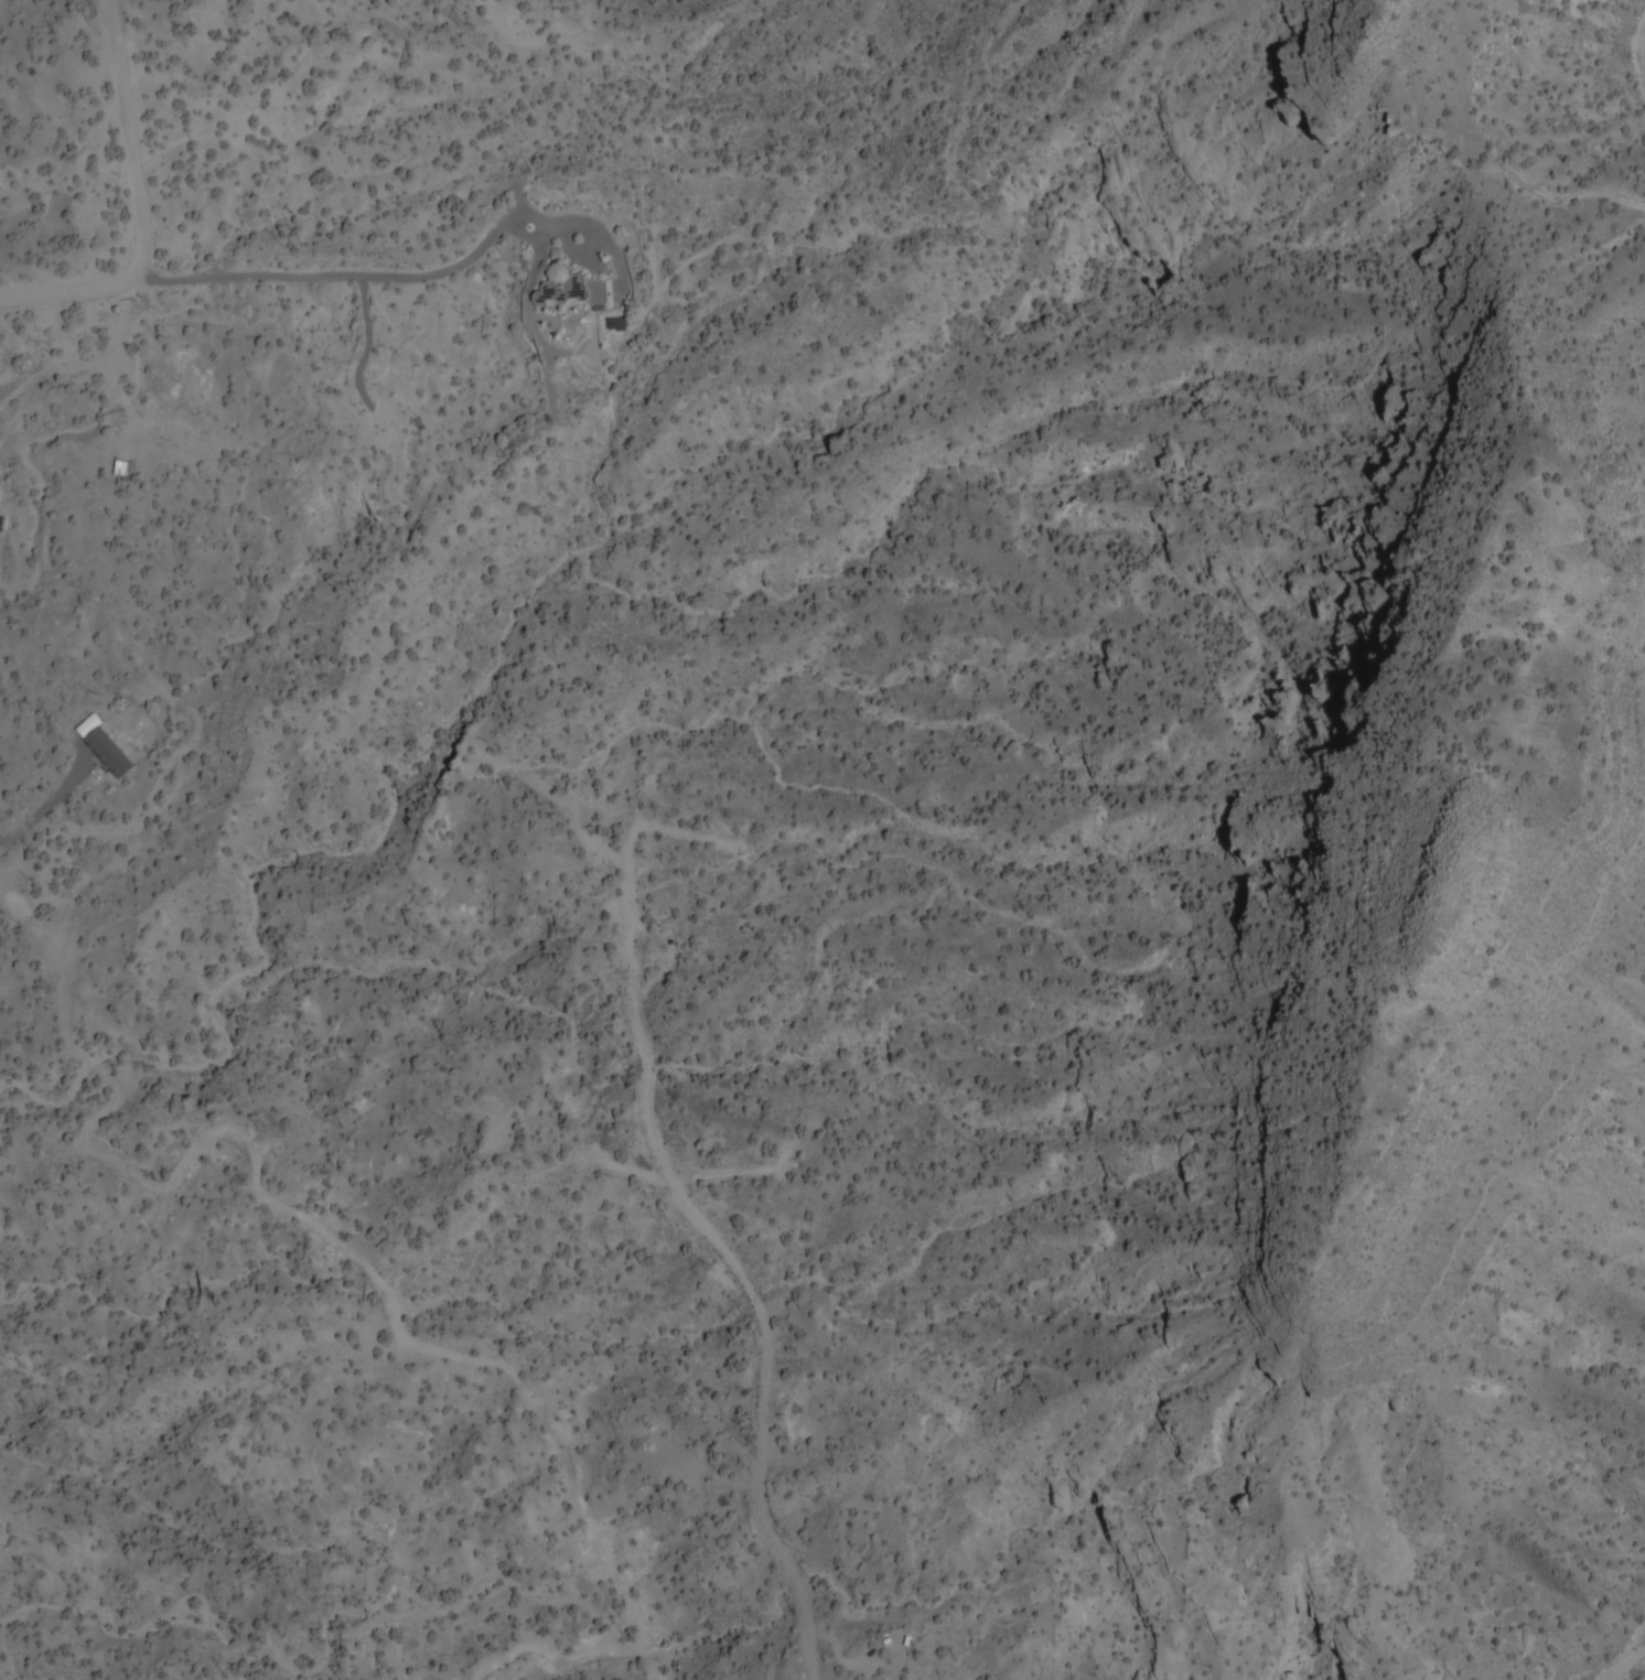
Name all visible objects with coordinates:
road: (136, 212)
road: (363, 278)
building: (573, 289)
building: (121, 470)
building: (0, 497)
building: (104, 749)
road: (41, 809)
road: (1620, 1639)

